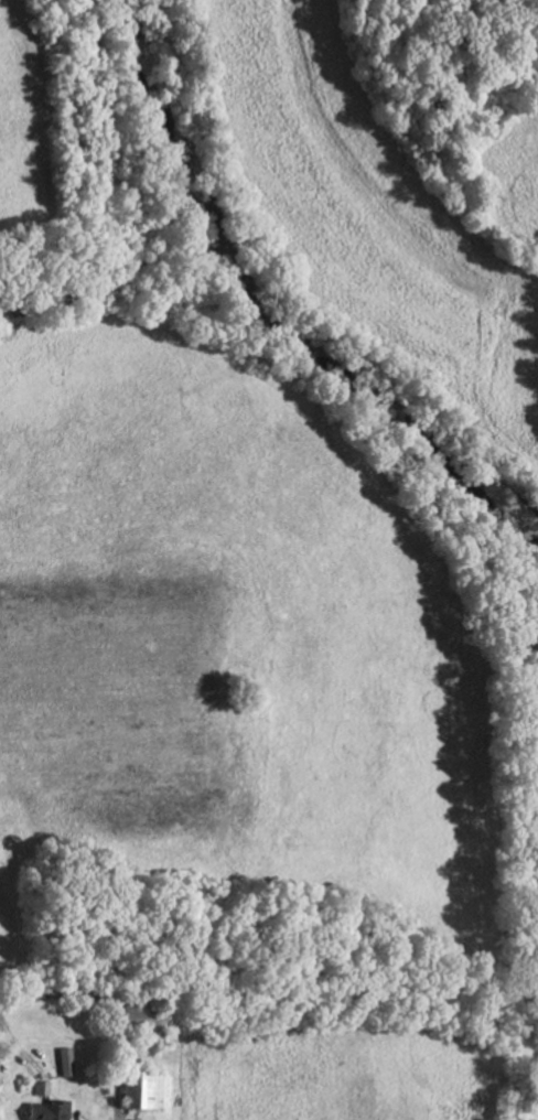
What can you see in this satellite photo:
road: (98, 999)
building: (133, 1016)
building: (62, 1060)
building: (140, 1089)
building: (43, 1110)

